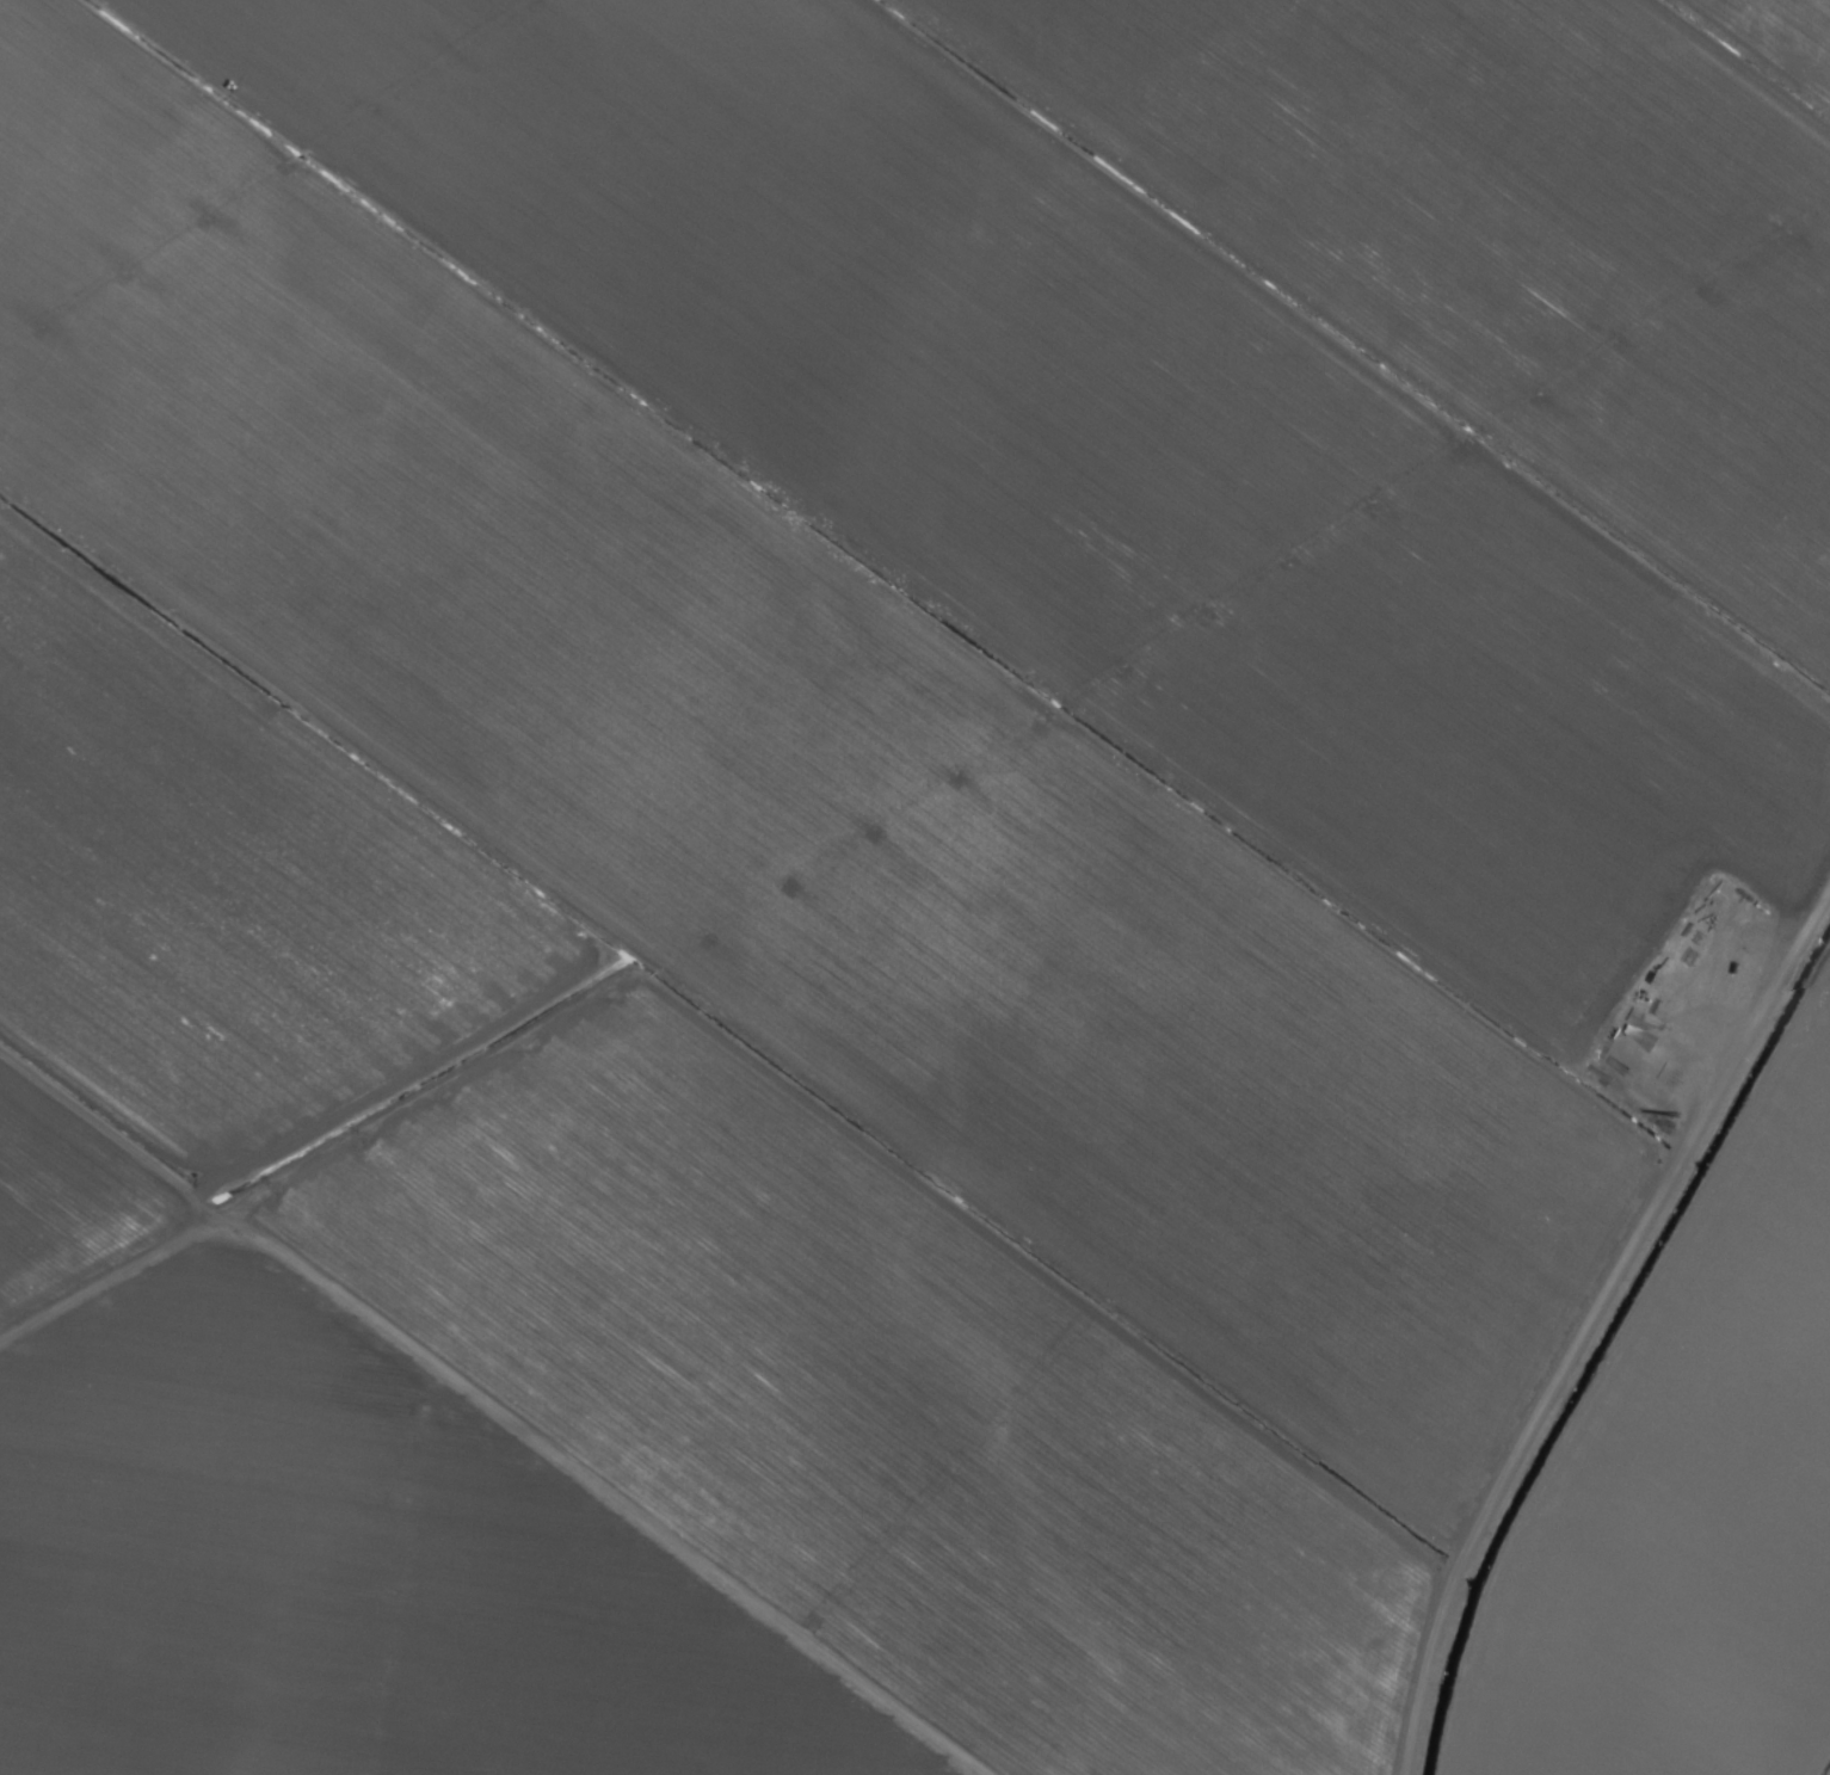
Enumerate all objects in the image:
road: (1756, 53)
crop: (914, 887)
road: (1586, 1317)

